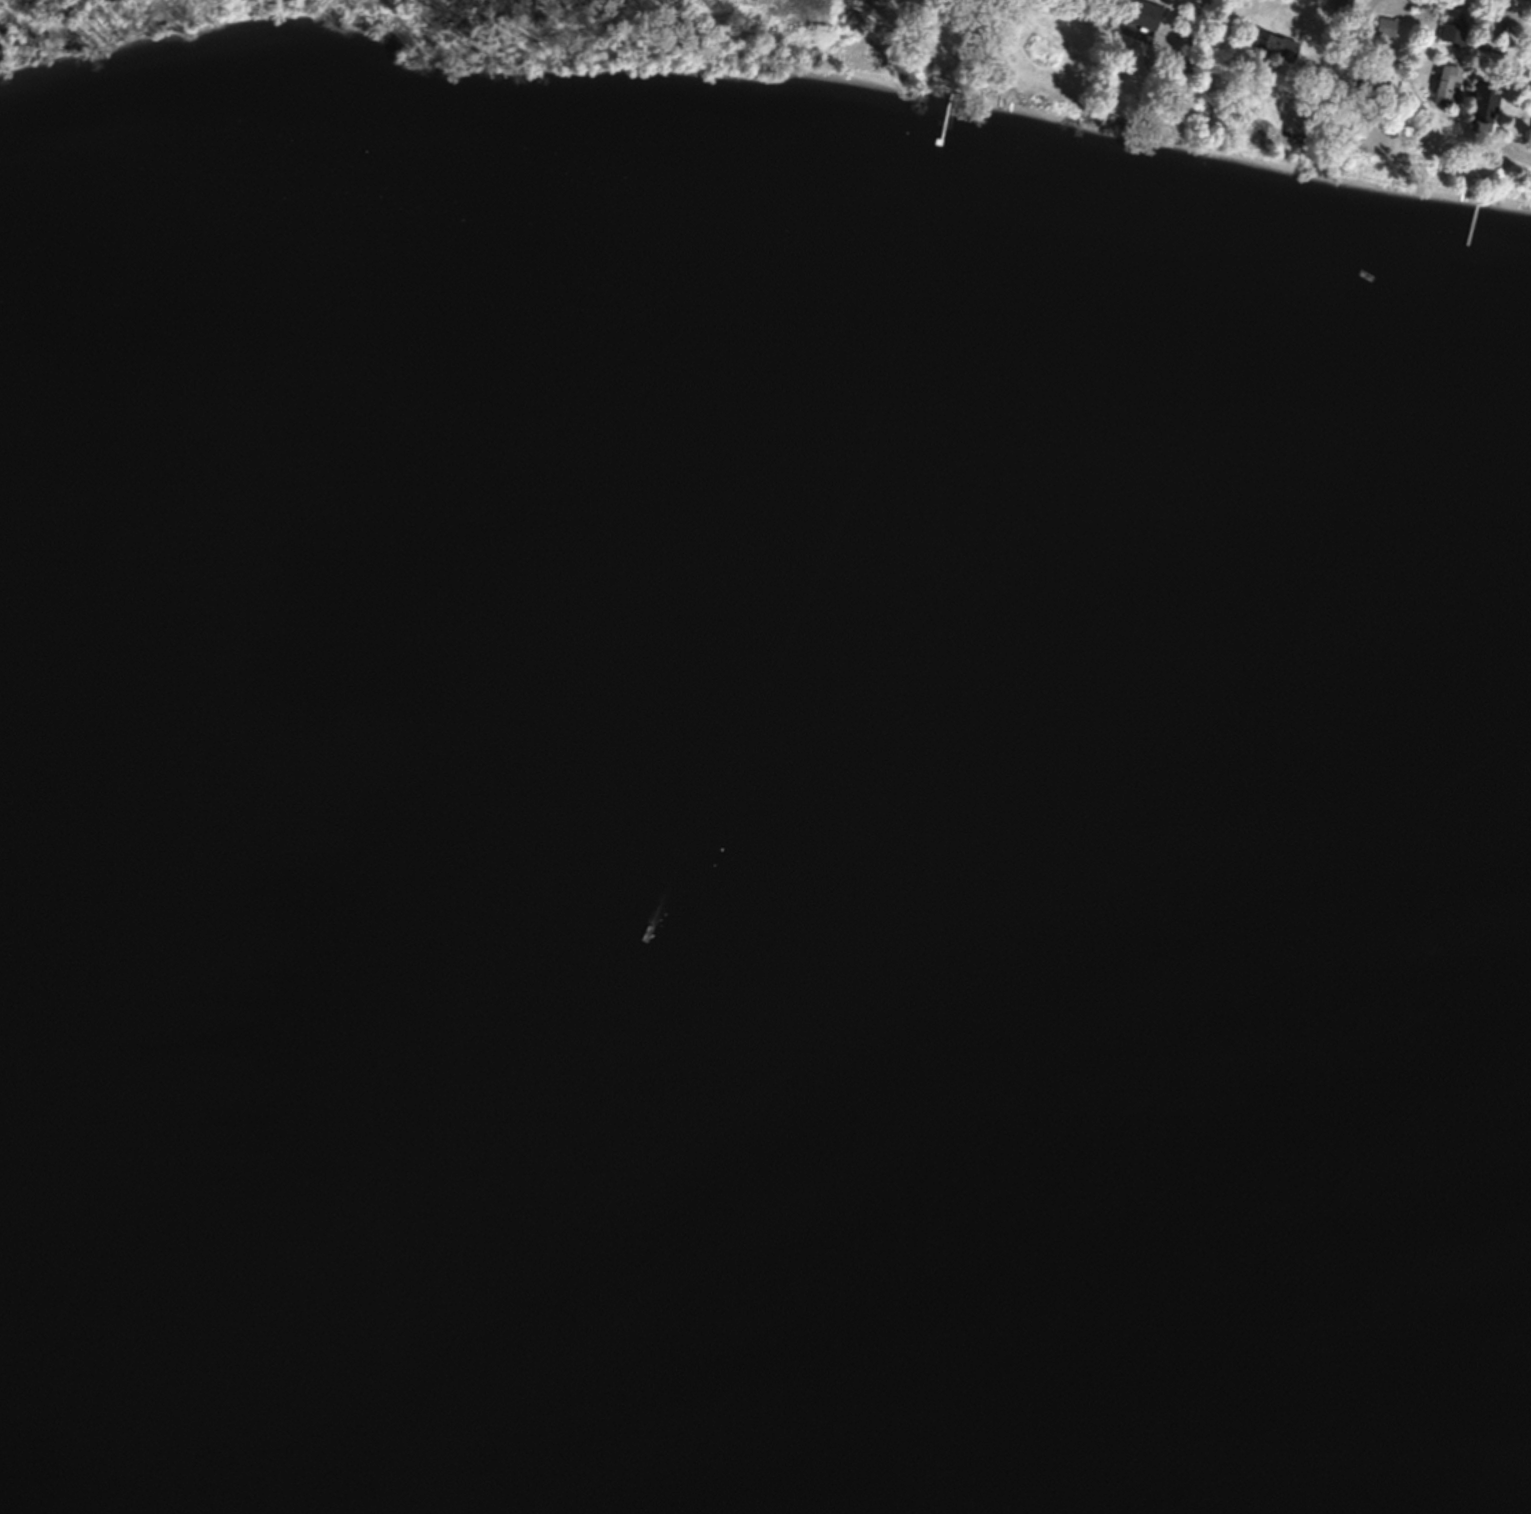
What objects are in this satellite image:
building: (1343, 1)
building: (1141, 14)
building: (1385, 27)
building: (1456, 34)
building: (1270, 47)
road: (1188, 70)
building: (1376, 70)
building: (1446, 85)
building: (1483, 102)
building: (1530, 134)

